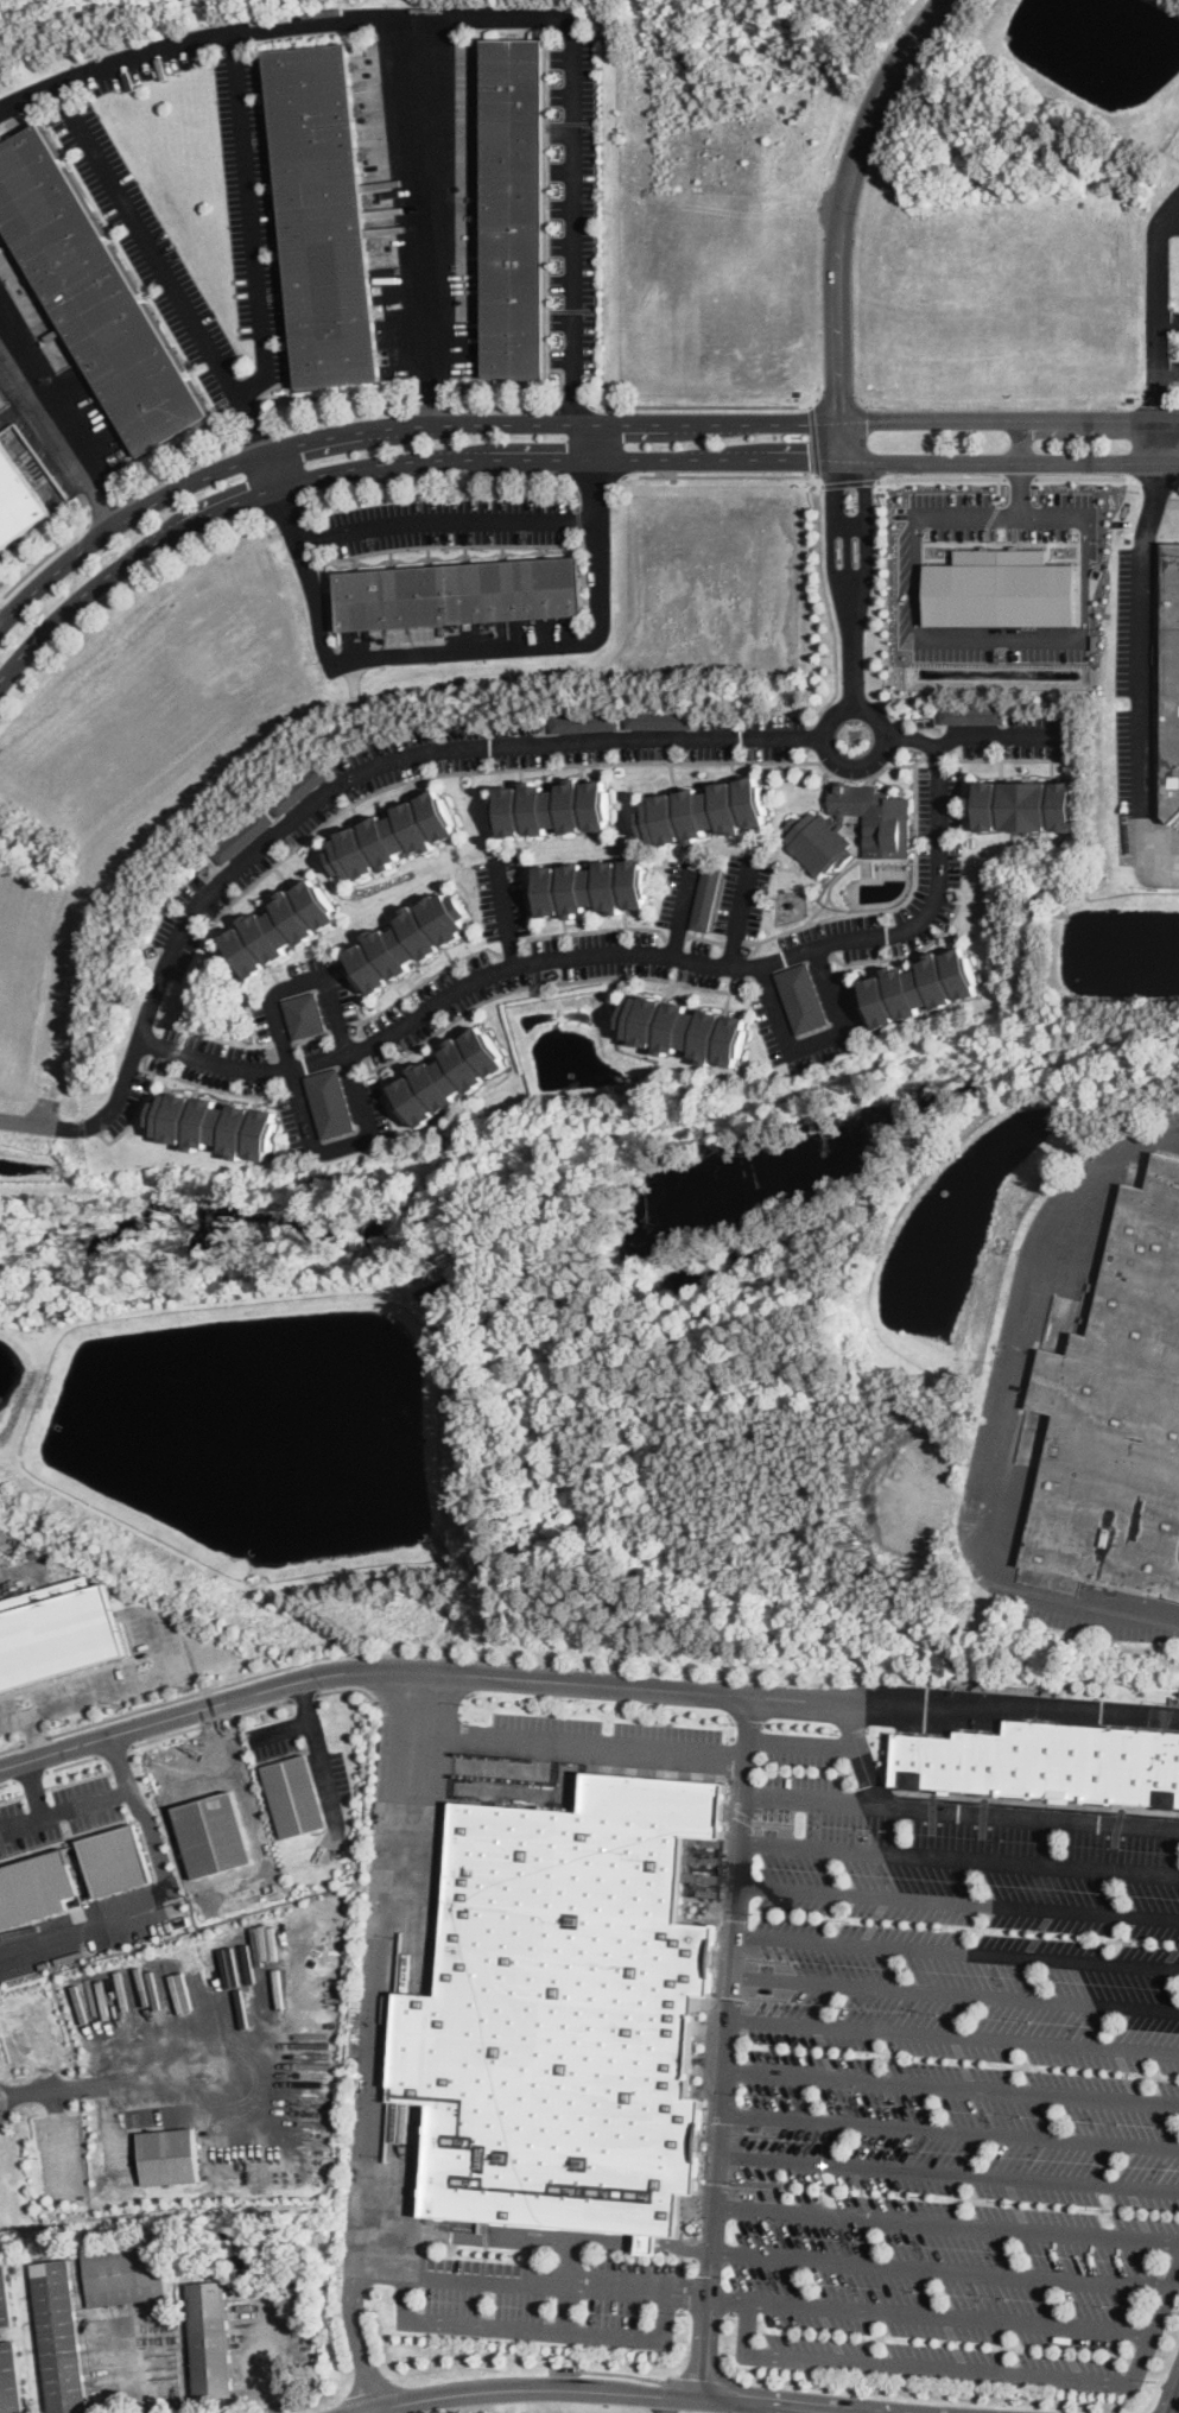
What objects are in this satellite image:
road: (27, 95)
building: (516, 204)
building: (319, 211)
road: (427, 218)
road: (252, 221)
road: (1156, 258)
road: (836, 265)
building: (91, 296)
road: (285, 322)
road: (175, 340)
road: (1156, 346)
road: (435, 403)
road: (525, 405)
road: (571, 405)
road: (709, 405)
road: (560, 420)
road: (58, 429)
road: (813, 441)
road: (554, 457)
road: (1019, 468)
road: (596, 475)
road: (939, 476)
road: (1019, 476)
road: (1080, 476)
road: (847, 482)
road: (999, 489)
building: (17, 500)
road: (109, 507)
road: (819, 513)
road: (1000, 517)
road: (446, 518)
road: (598, 520)
road: (42, 558)
building: (1001, 588)
building: (457, 590)
road: (1142, 628)
road: (850, 631)
road: (1001, 634)
building: (1171, 674)
building: (971, 711)
building: (657, 717)
building: (584, 720)
road: (966, 736)
road: (869, 758)
building: (297, 788)
building: (1021, 804)
building: (547, 806)
building: (698, 807)
building: (875, 816)
building: (241, 835)
building: (395, 835)
building: (818, 841)
building: (585, 886)
building: (704, 898)
road: (682, 910)
road: (740, 911)
road: (505, 912)
building: (285, 926)
building: (410, 942)
building: (915, 986)
building: (801, 996)
building: (305, 1014)
building: (679, 1027)
road: (818, 1040)
road: (349, 1060)
road: (226, 1064)
building: (455, 1076)
road: (123, 1083)
building: (331, 1101)
road: (44, 1122)
building: (220, 1125)
road: (1173, 1128)
road: (1013, 1318)
building: (1114, 1399)
road: (5, 1537)
building: (1048, 1579)
road: (1084, 1604)
building: (59, 1635)
road: (471, 1673)
road: (215, 1686)
road: (350, 1686)
road: (114, 1687)
road: (305, 1695)
road: (308, 1699)
road: (266, 1706)
road: (1069, 1708)
road: (226, 1718)
road: (38, 1735)
road: (172, 1735)
road: (38, 1740)
road: (583, 1740)
road: (807, 1742)
road: (321, 1744)
road: (13, 1747)
road: (118, 1750)
road: (863, 1752)
building: (1048, 1760)
road: (76, 1762)
road: (201, 1768)
road: (32, 1776)
road: (8, 1781)
road: (36, 1788)
building: (297, 1797)
road: (66, 1809)
road: (964, 1809)
road: (151, 1817)
road: (255, 1822)
building: (213, 1835)
road: (962, 1857)
building: (118, 1858)
building: (37, 1887)
road: (959, 1899)
road: (89, 1932)
road: (957, 1950)
road: (384, 1968)
road: (956, 1990)
building: (568, 2006)
road: (953, 2034)
road: (725, 2045)
road: (951, 2085)
road: (116, 2088)
parking lot: (958, 2097)
road: (950, 2129)
building: (167, 2155)
road: (947, 2171)
road: (945, 2223)
road: (470, 2234)
road: (640, 2241)
road: (571, 2261)
road: (938, 2267)
building: (123, 2270)
road: (528, 2279)
building: (4, 2299)
road: (568, 2307)
road: (926, 2313)
road: (532, 2327)
building: (58, 2336)
road: (357, 2336)
building: (210, 2338)
road: (270, 2356)
road: (146, 2364)
road: (974, 2368)
road: (611, 2371)
building: (8, 2379)
road: (684, 2379)
road: (458, 2392)
road: (1172, 2396)
road: (721, 2399)
road: (666, 2403)
road: (763, 2407)
road: (384, 2408)

